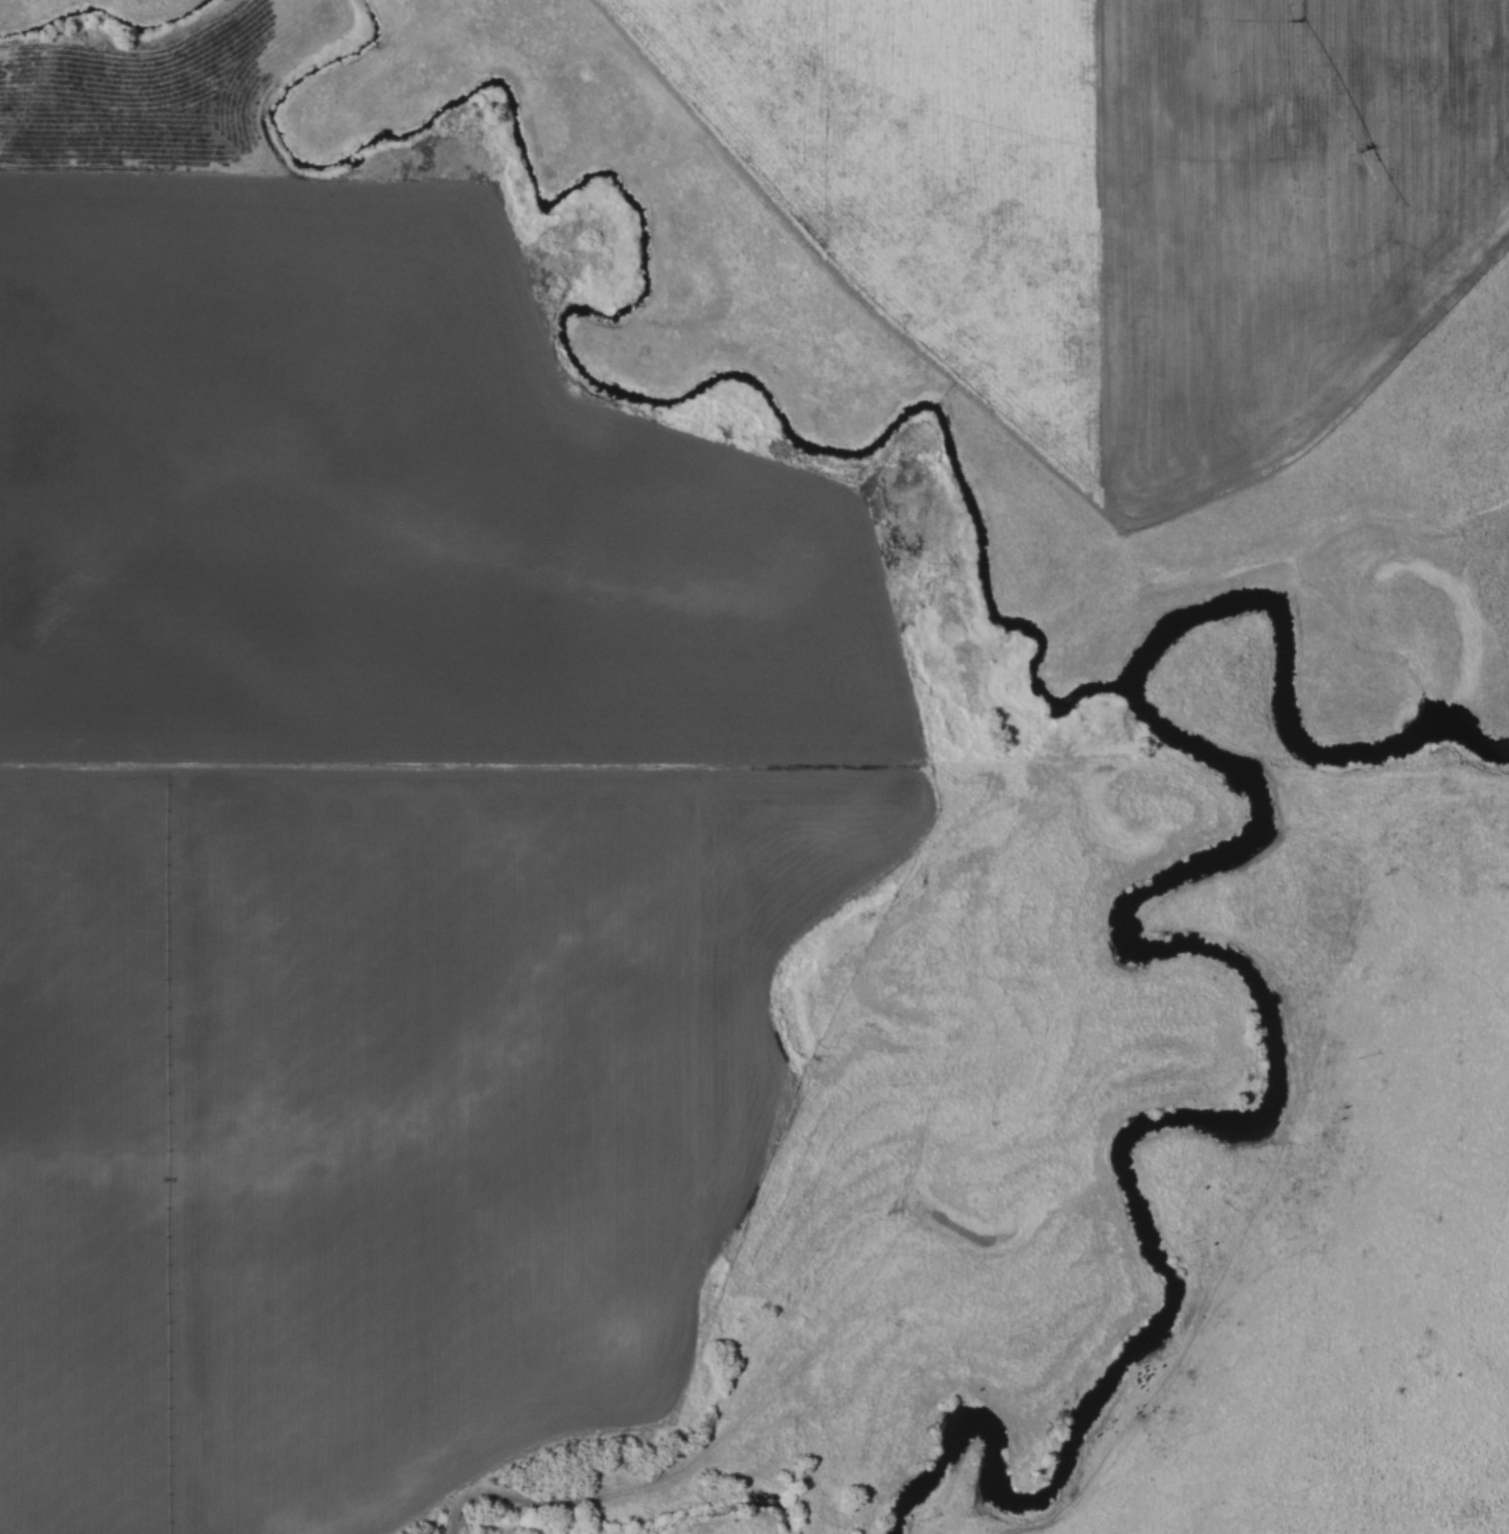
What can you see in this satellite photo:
road: (1032, 1527)

